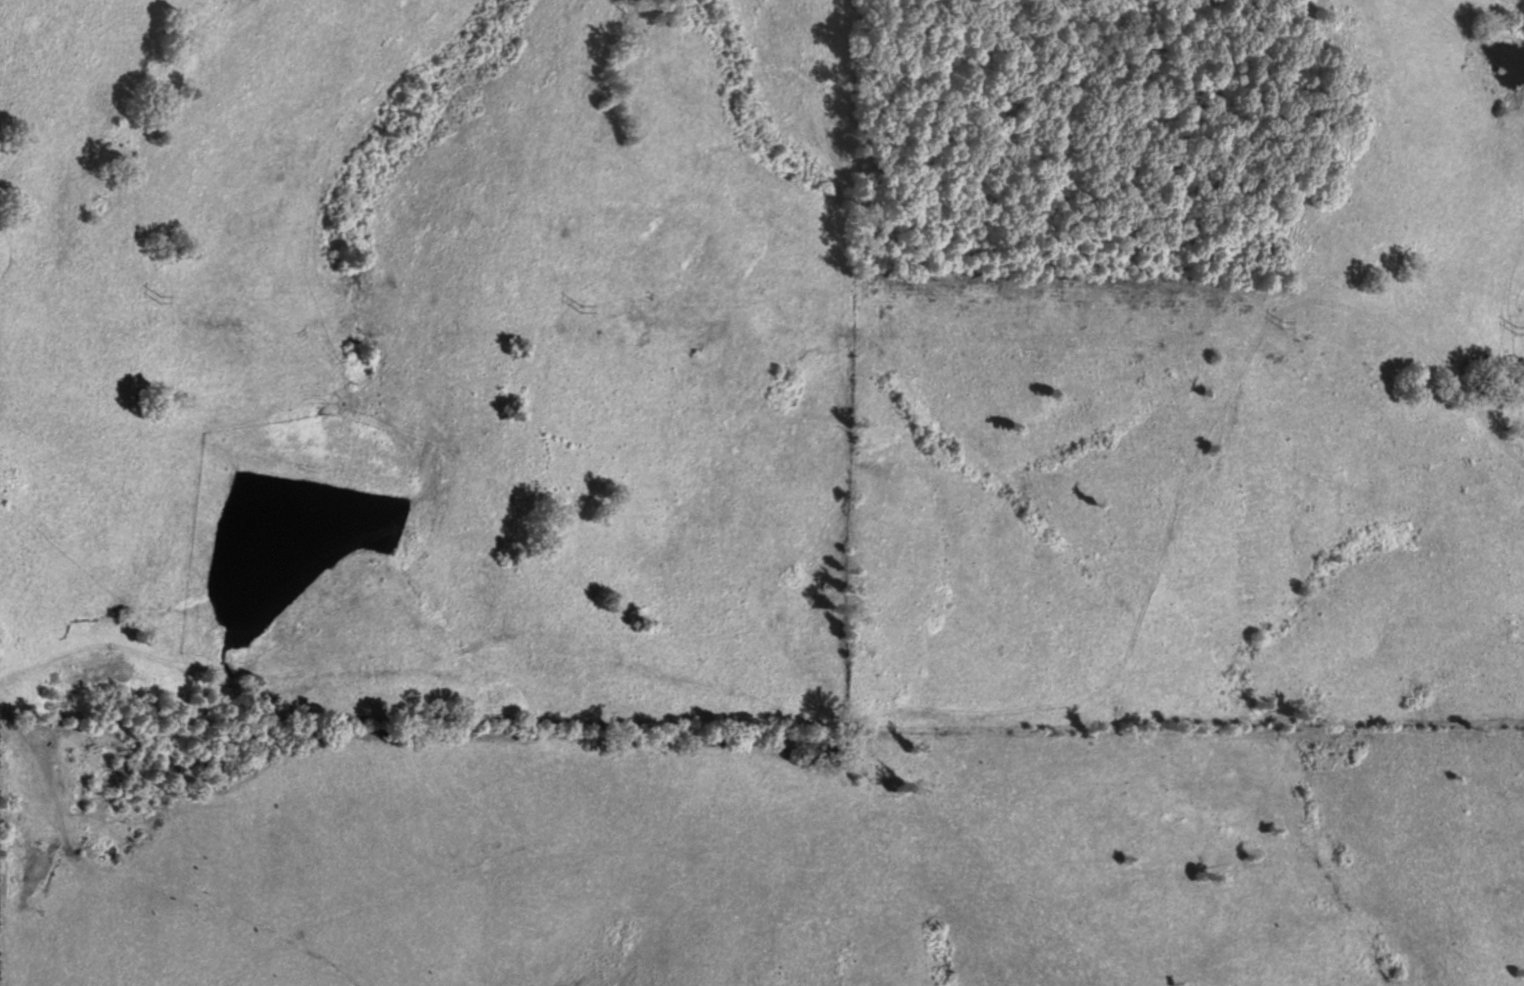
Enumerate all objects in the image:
road: (112, 741)

